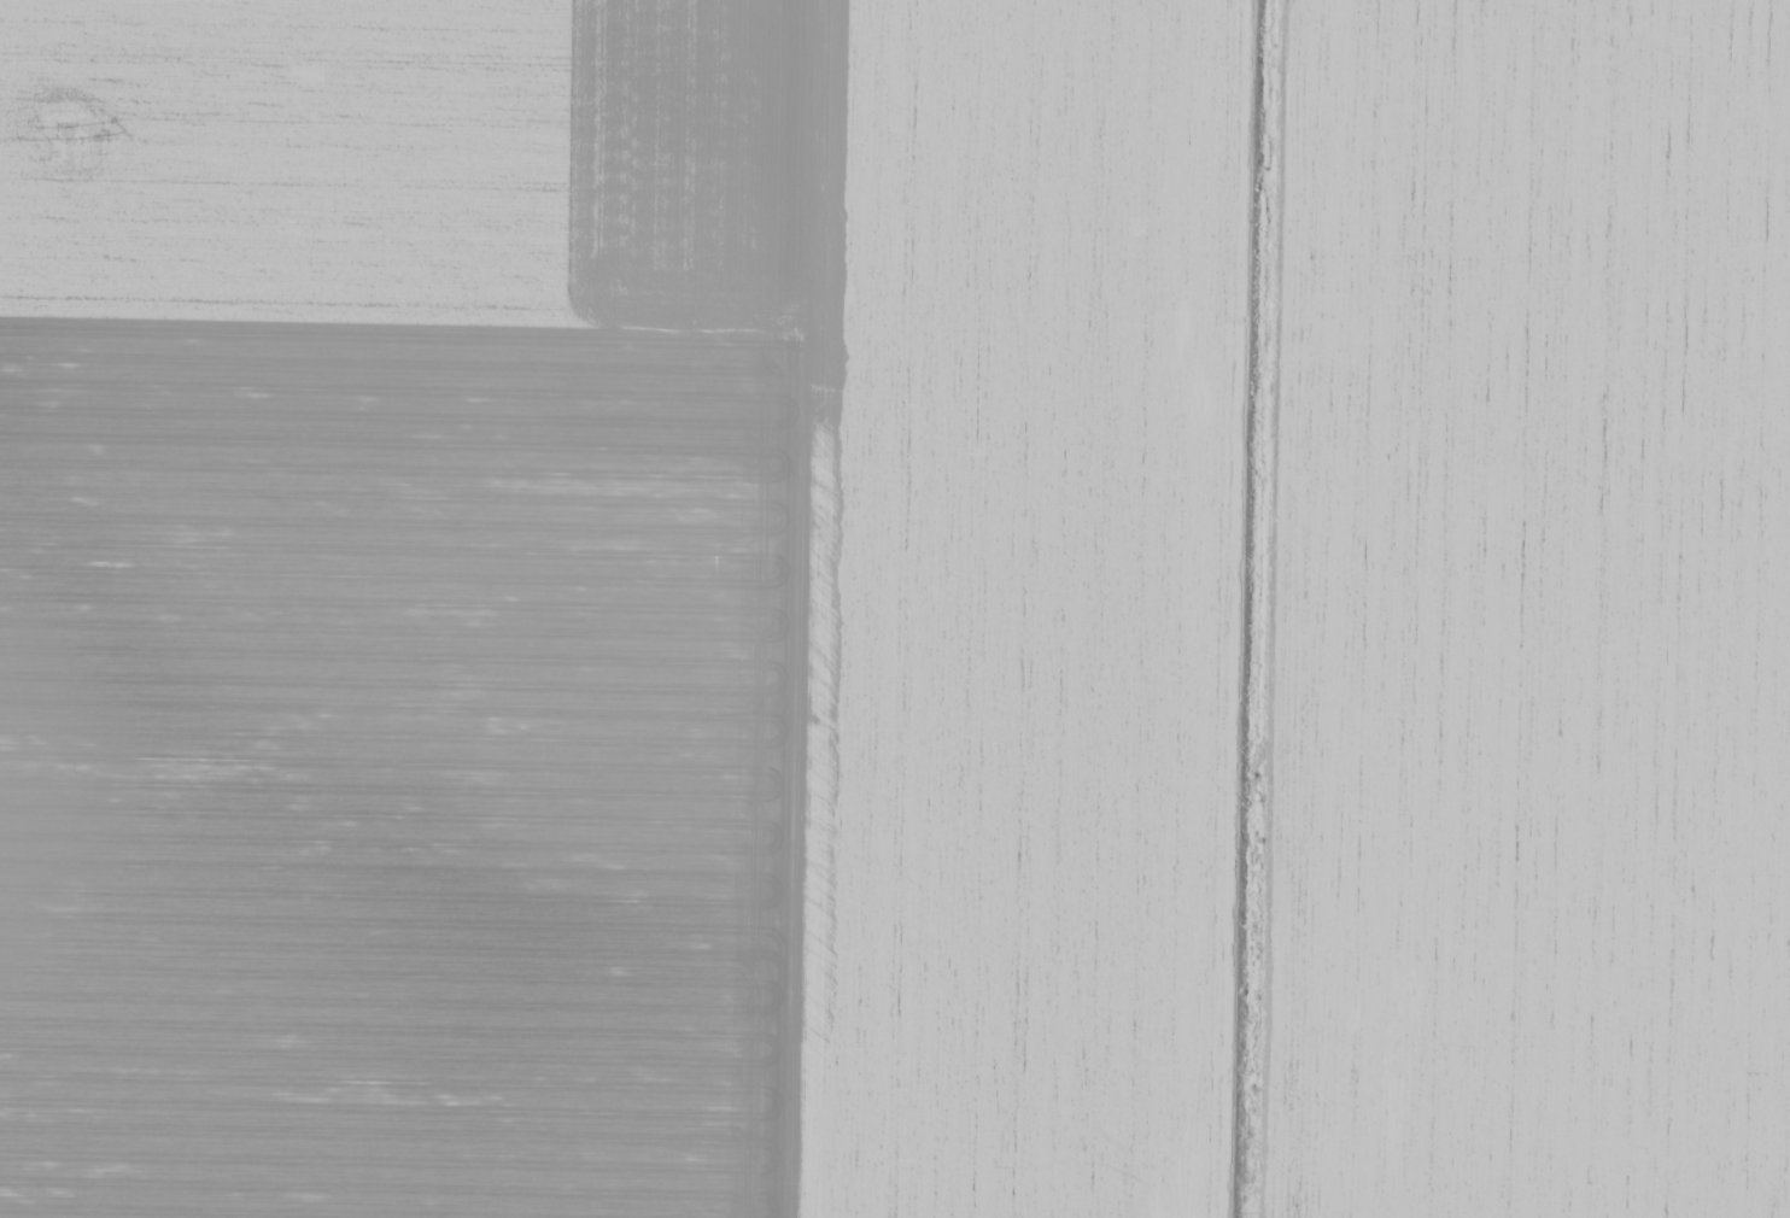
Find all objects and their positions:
power tower: (64, 122)

